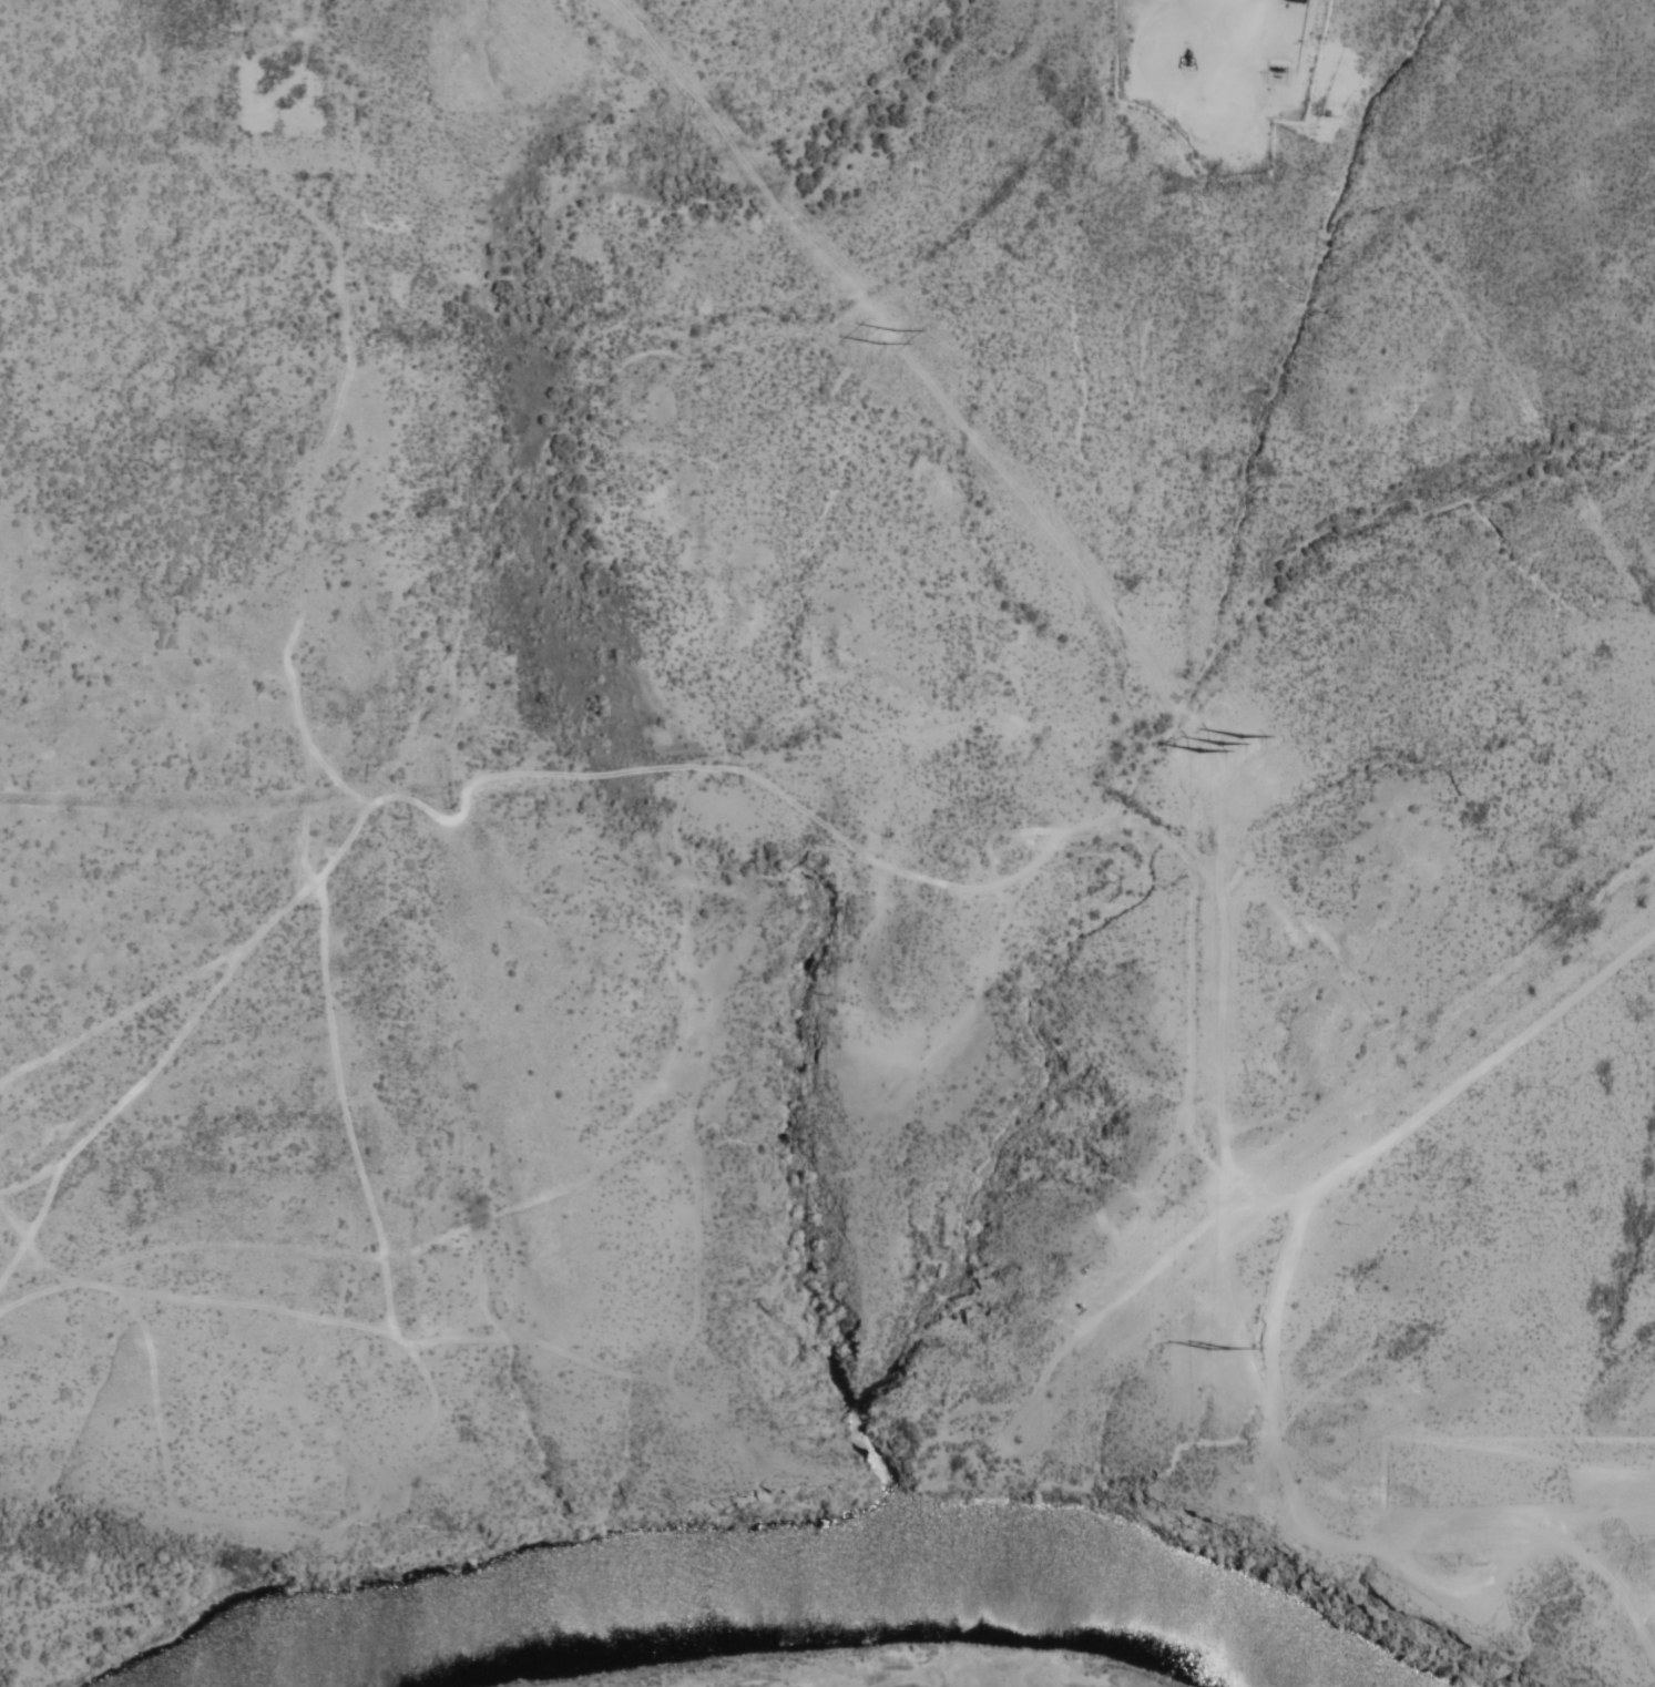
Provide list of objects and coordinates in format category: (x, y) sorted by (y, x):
road: (256, 7)
road: (1222, 30)
power tower: (883, 339)
road: (561, 628)
power tower: (1212, 746)
power tower: (1214, 1349)
road: (1267, 1363)
river: (785, 1578)

